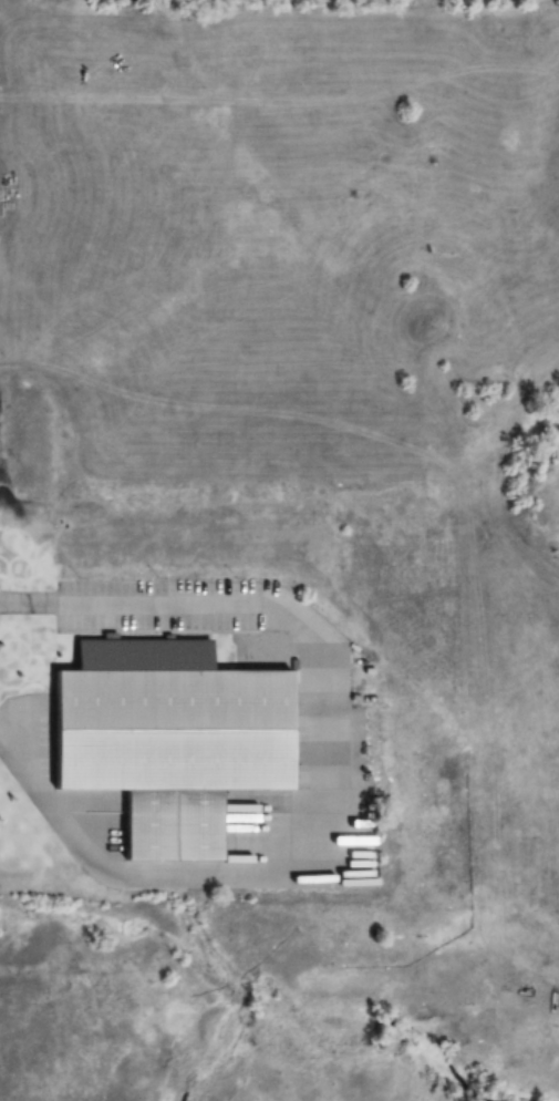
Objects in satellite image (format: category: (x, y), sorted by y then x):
building: (166, 739)

